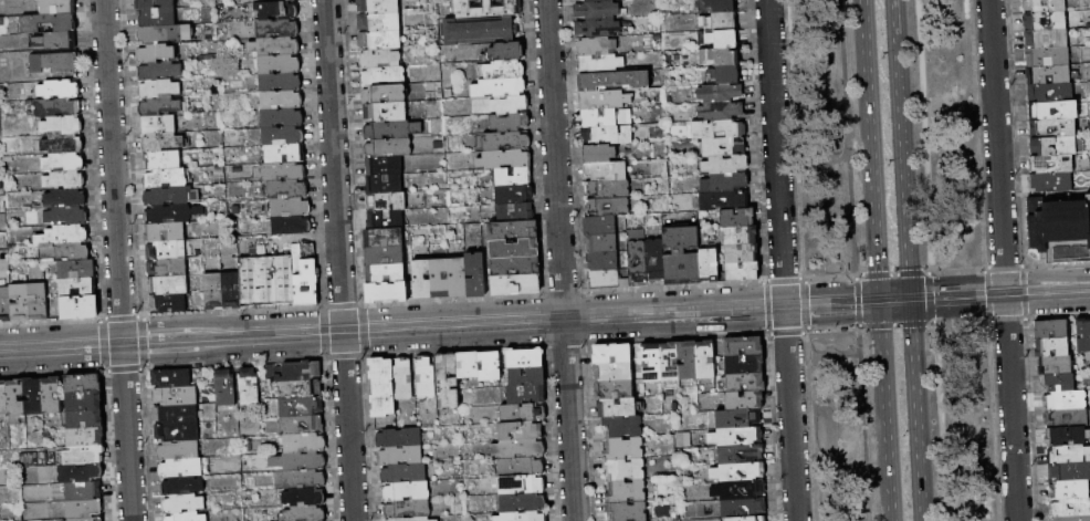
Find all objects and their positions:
building: (595, 0)
building: (259, 1)
building: (285, 1)
building: (153, 3)
building: (720, 6)
building: (1044, 6)
building: (55, 7)
building: (376, 7)
building: (485, 9)
building: (596, 10)
building: (274, 11)
road: (895, 17)
building: (155, 18)
building: (719, 21)
building: (1033, 21)
building: (46, 22)
building: (377, 22)
building: (597, 28)
building: (276, 29)
building: (479, 31)
building: (164, 34)
building: (720, 38)
building: (1046, 38)
building: (378, 40)
building: (53, 41)
building: (273, 46)
building: (596, 46)
building: (505, 51)
building: (155, 53)
building: (719, 56)
building: (1047, 56)
building: (378, 59)
building: (52, 62)
building: (599, 63)
building: (277, 64)
building: (503, 70)
building: (158, 71)
building: (725, 73)
building: (1048, 73)
building: (382, 76)
building: (612, 80)
building: (279, 82)
building: (496, 87)
building: (57, 88)
building: (158, 90)
building: (1037, 92)
building: (719, 93)
building: (384, 94)
building: (602, 98)
building: (281, 100)
building: (507, 105)
building: (161, 106)
building: (55, 107)
building: (1039, 110)
building: (720, 111)
building: (371, 113)
building: (605, 117)
building: (282, 118)
building: (507, 123)
building: (61, 124)
building: (157, 125)
building: (717, 128)
building: (1039, 128)
building: (386, 131)
road: (975, 134)
building: (606, 135)
building: (282, 136)
road: (923, 136)
road: (847, 137)
road: (794, 138)
road: (755, 139)
building: (504, 140)
building: (161, 143)
building: (61, 144)
building: (735, 146)
road: (996, 146)
building: (1066, 146)
building: (387, 148)
road: (870, 149)
road: (776, 153)
building: (283, 154)
building: (597, 154)
road: (903, 157)
road: (555, 158)
road: (92, 159)
building: (503, 159)
building: (161, 160)
building: (62, 163)
building: (1063, 163)
road: (333, 165)
building: (723, 165)
building: (382, 166)
road: (112, 170)
building: (281, 171)
building: (604, 171)
building: (512, 177)
building: (165, 178)
building: (63, 179)
building: (1050, 181)
building: (723, 183)
building: (382, 184)
building: (606, 188)
building: (285, 189)
building: (512, 194)
building: (166, 196)
building: (64, 198)
building: (736, 200)
building: (385, 201)
building: (606, 207)
building: (290, 208)
building: (514, 212)
building: (171, 213)
building: (65, 215)
building: (736, 218)
building: (384, 220)
building: (1057, 221)
building: (290, 225)
building: (599, 226)
building: (513, 230)
building: (163, 232)
building: (63, 235)
building: (738, 236)
building: (381, 238)
building: (600, 242)
building: (513, 249)
building: (166, 250)
building: (63, 251)
building: (741, 252)
building: (382, 256)
building: (680, 256)
building: (636, 257)
building: (600, 260)
park: (892, 260)
building: (653, 261)
building: (708, 263)
building: (515, 265)
road: (1056, 265)
building: (167, 268)
road: (1003, 268)
building: (75, 269)
road: (956, 270)
traffic signals: (878, 271)
building: (738, 272)
building: (384, 273)
road: (857, 273)
road: (893, 273)
building: (304, 274)
building: (474, 274)
road: (829, 275)
building: (455, 277)
road: (855, 277)
road: (999, 277)
road: (800, 278)
building: (439, 279)
road: (764, 279)
road: (782, 279)
building: (265, 280)
building: (420, 280)
building: (605, 280)
road: (804, 280)
traffic signals: (931, 281)
road: (762, 282)
building: (514, 284)
railway: (958, 284)
building: (167, 285)
road: (672, 285)
railway: (944, 285)
road: (985, 285)
building: (75, 286)
road: (951, 286)
building: (231, 290)
road: (910, 290)
building: (212, 291)
road: (893, 291)
road: (1047, 291)
building: (385, 292)
road: (562, 292)
road: (1023, 293)
road: (988, 294)
road: (929, 295)
road: (957, 296)
traffic signals: (932, 298)
road: (451, 299)
road: (894, 299)
building: (18, 301)
building: (35, 301)
road: (858, 301)
traffic signals: (852, 302)
building: (167, 303)
road: (831, 303)
building: (4, 304)
road: (342, 305)
road: (804, 306)
building: (76, 308)
road: (895, 308)
road: (767, 309)
road: (879, 309)
road: (231, 311)
road: (856, 311)
railway: (667, 312)
road: (674, 312)
railway: (855, 312)
railway: (544, 314)
road: (585, 316)
railway: (729, 316)
road: (1057, 316)
road: (120, 317)
road: (747, 317)
traffic signals: (853, 317)
road: (543, 319)
road: (1006, 319)
road: (51, 321)
road: (202, 322)
railway: (544, 322)
road: (930, 322)
road: (958, 322)
road: (452, 324)
road: (737, 324)
road: (859, 325)
road: (894, 325)
traffic signals: (912, 326)
road: (831, 329)
railway: (147, 330)
road: (361, 330)
building: (1051, 330)
road: (786, 331)
road: (144, 332)
road: (315, 332)
road: (324, 332)
building: (1083, 335)
road: (678, 337)
road: (206, 338)
road: (140, 341)
road: (565, 343)
road: (103, 344)
road: (60, 346)
building: (743, 346)
building: (1052, 347)
road: (453, 350)
road: (144, 351)
railway: (147, 352)
building: (612, 353)
road: (205, 355)
road: (344, 356)
building: (525, 358)
building: (705, 360)
building: (688, 361)
road: (233, 362)
building: (670, 362)
building: (651, 363)
building: (744, 364)
building: (468, 365)
building: (1055, 365)
building: (490, 366)
road: (124, 368)
building: (304, 371)
road: (52, 372)
building: (614, 372)
building: (427, 376)
building: (527, 376)
building: (171, 378)
building: (403, 378)
building: (448, 381)
building: (745, 383)
building: (83, 384)
building: (1058, 384)
building: (249, 386)
building: (384, 386)
building: (226, 387)
building: (298, 389)
building: (615, 390)
building: (526, 394)
building: (52, 395)
building: (33, 396)
building: (175, 396)
building: (17, 397)
building: (3, 399)
building: (85, 400)
building: (744, 400)
building: (1065, 400)
building: (302, 407)
building: (619, 407)
road: (1010, 407)
road: (916, 409)
building: (523, 411)
road: (790, 413)
building: (177, 414)
road: (884, 418)
building: (1067, 418)
building: (86, 419)
road: (568, 419)
building: (740, 419)
road: (940, 421)
road: (863, 424)
building: (302, 426)
road: (347, 426)
building: (622, 427)
building: (522, 430)
road: (127, 431)
building: (176, 433)
building: (1067, 436)
building: (85, 437)
building: (737, 437)
building: (400, 438)
building: (304, 442)
building: (520, 449)
building: (623, 449)
building: (178, 450)
building: (741, 455)
building: (1067, 455)
building: (82, 456)
building: (400, 456)
building: (301, 461)
building: (522, 466)
building: (182, 468)
building: (625, 470)
building: (81, 472)
building: (740, 472)
building: (1069, 472)
building: (402, 473)
building: (304, 479)
building: (523, 484)
building: (181, 486)
building: (740, 490)
building: (1070, 490)
building: (84, 491)
building: (407, 491)
building: (626, 492)
building: (304, 498)
building: (523, 502)
building: (182, 503)
building: (1070, 508)
building: (85, 509)
building: (744, 509)
building: (407, 510)
building: (627, 511)
building: (305, 513)
building: (185, 517)
building: (523, 517)
building: (88, 519)
building: (410, 519)
building: (748, 519)
building: (1071, 519)
building: (436, 520)

